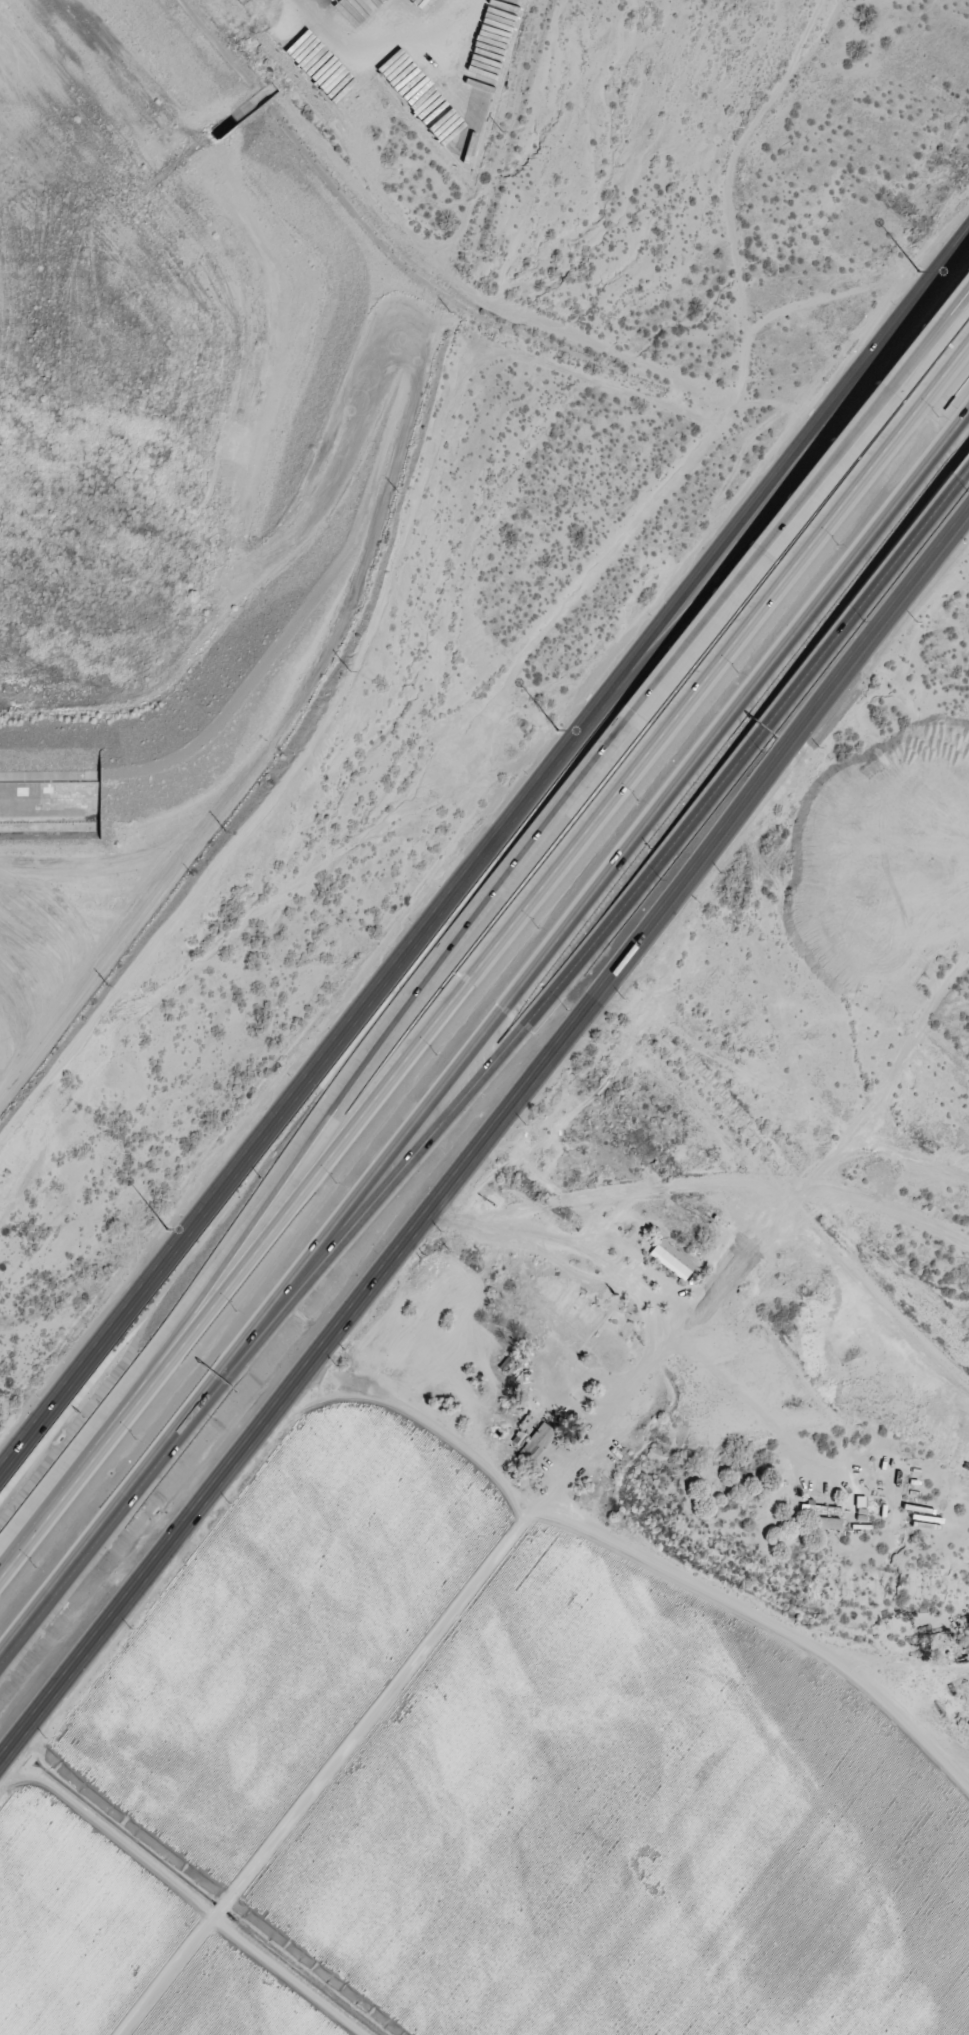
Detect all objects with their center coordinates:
road: (881, 339)
road: (816, 464)
road: (801, 503)
road: (903, 541)
road: (890, 611)
road: (585, 835)
road: (630, 845)
road: (574, 959)
road: (398, 964)
road: (407, 1014)
road: (408, 1239)
building: (672, 1259)
building: (541, 1435)
building: (527, 1448)
road: (97, 1450)
road: (146, 1471)
building: (828, 1522)
road: (501, 1560)
road: (187, 1892)

